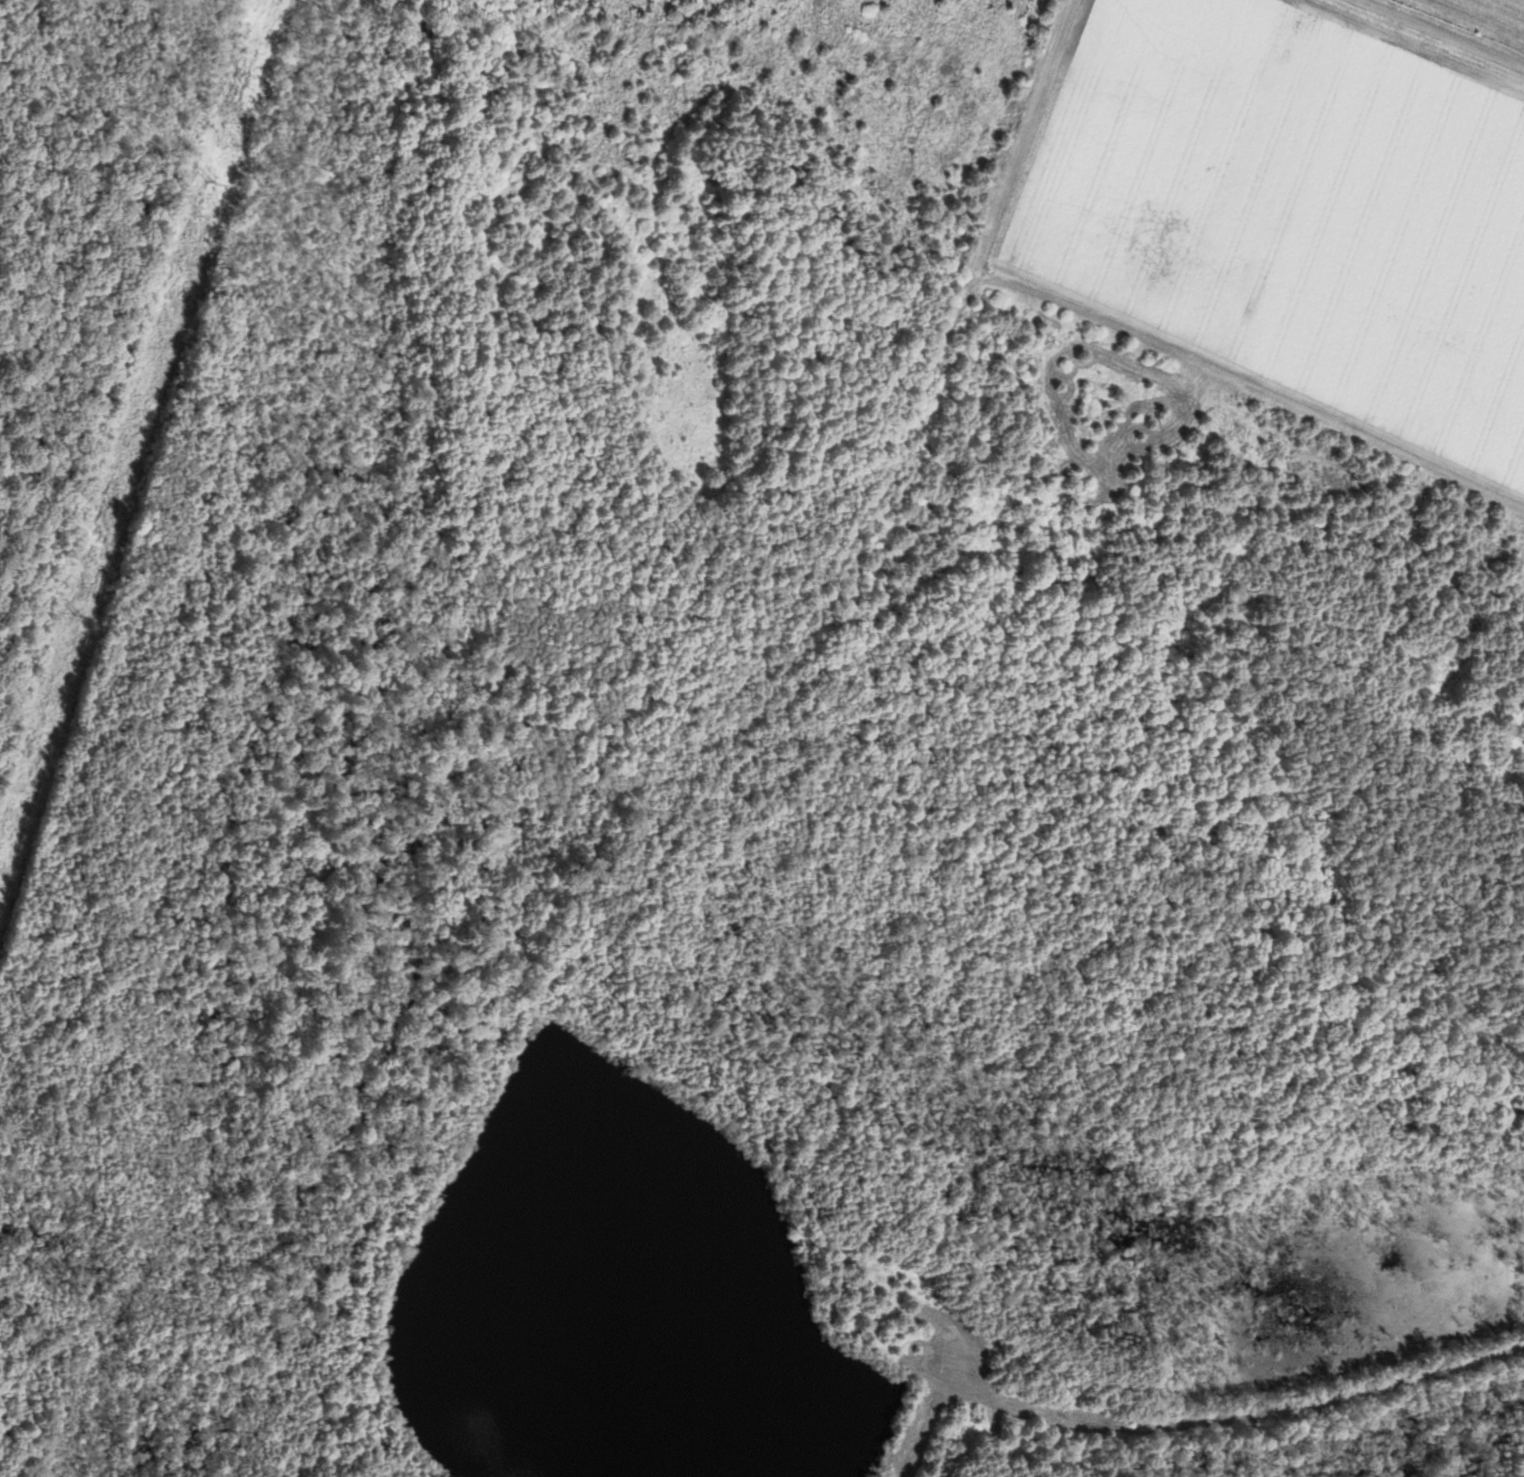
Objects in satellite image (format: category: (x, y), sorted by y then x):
power tower: (209, 182)
power tower: (73, 618)

